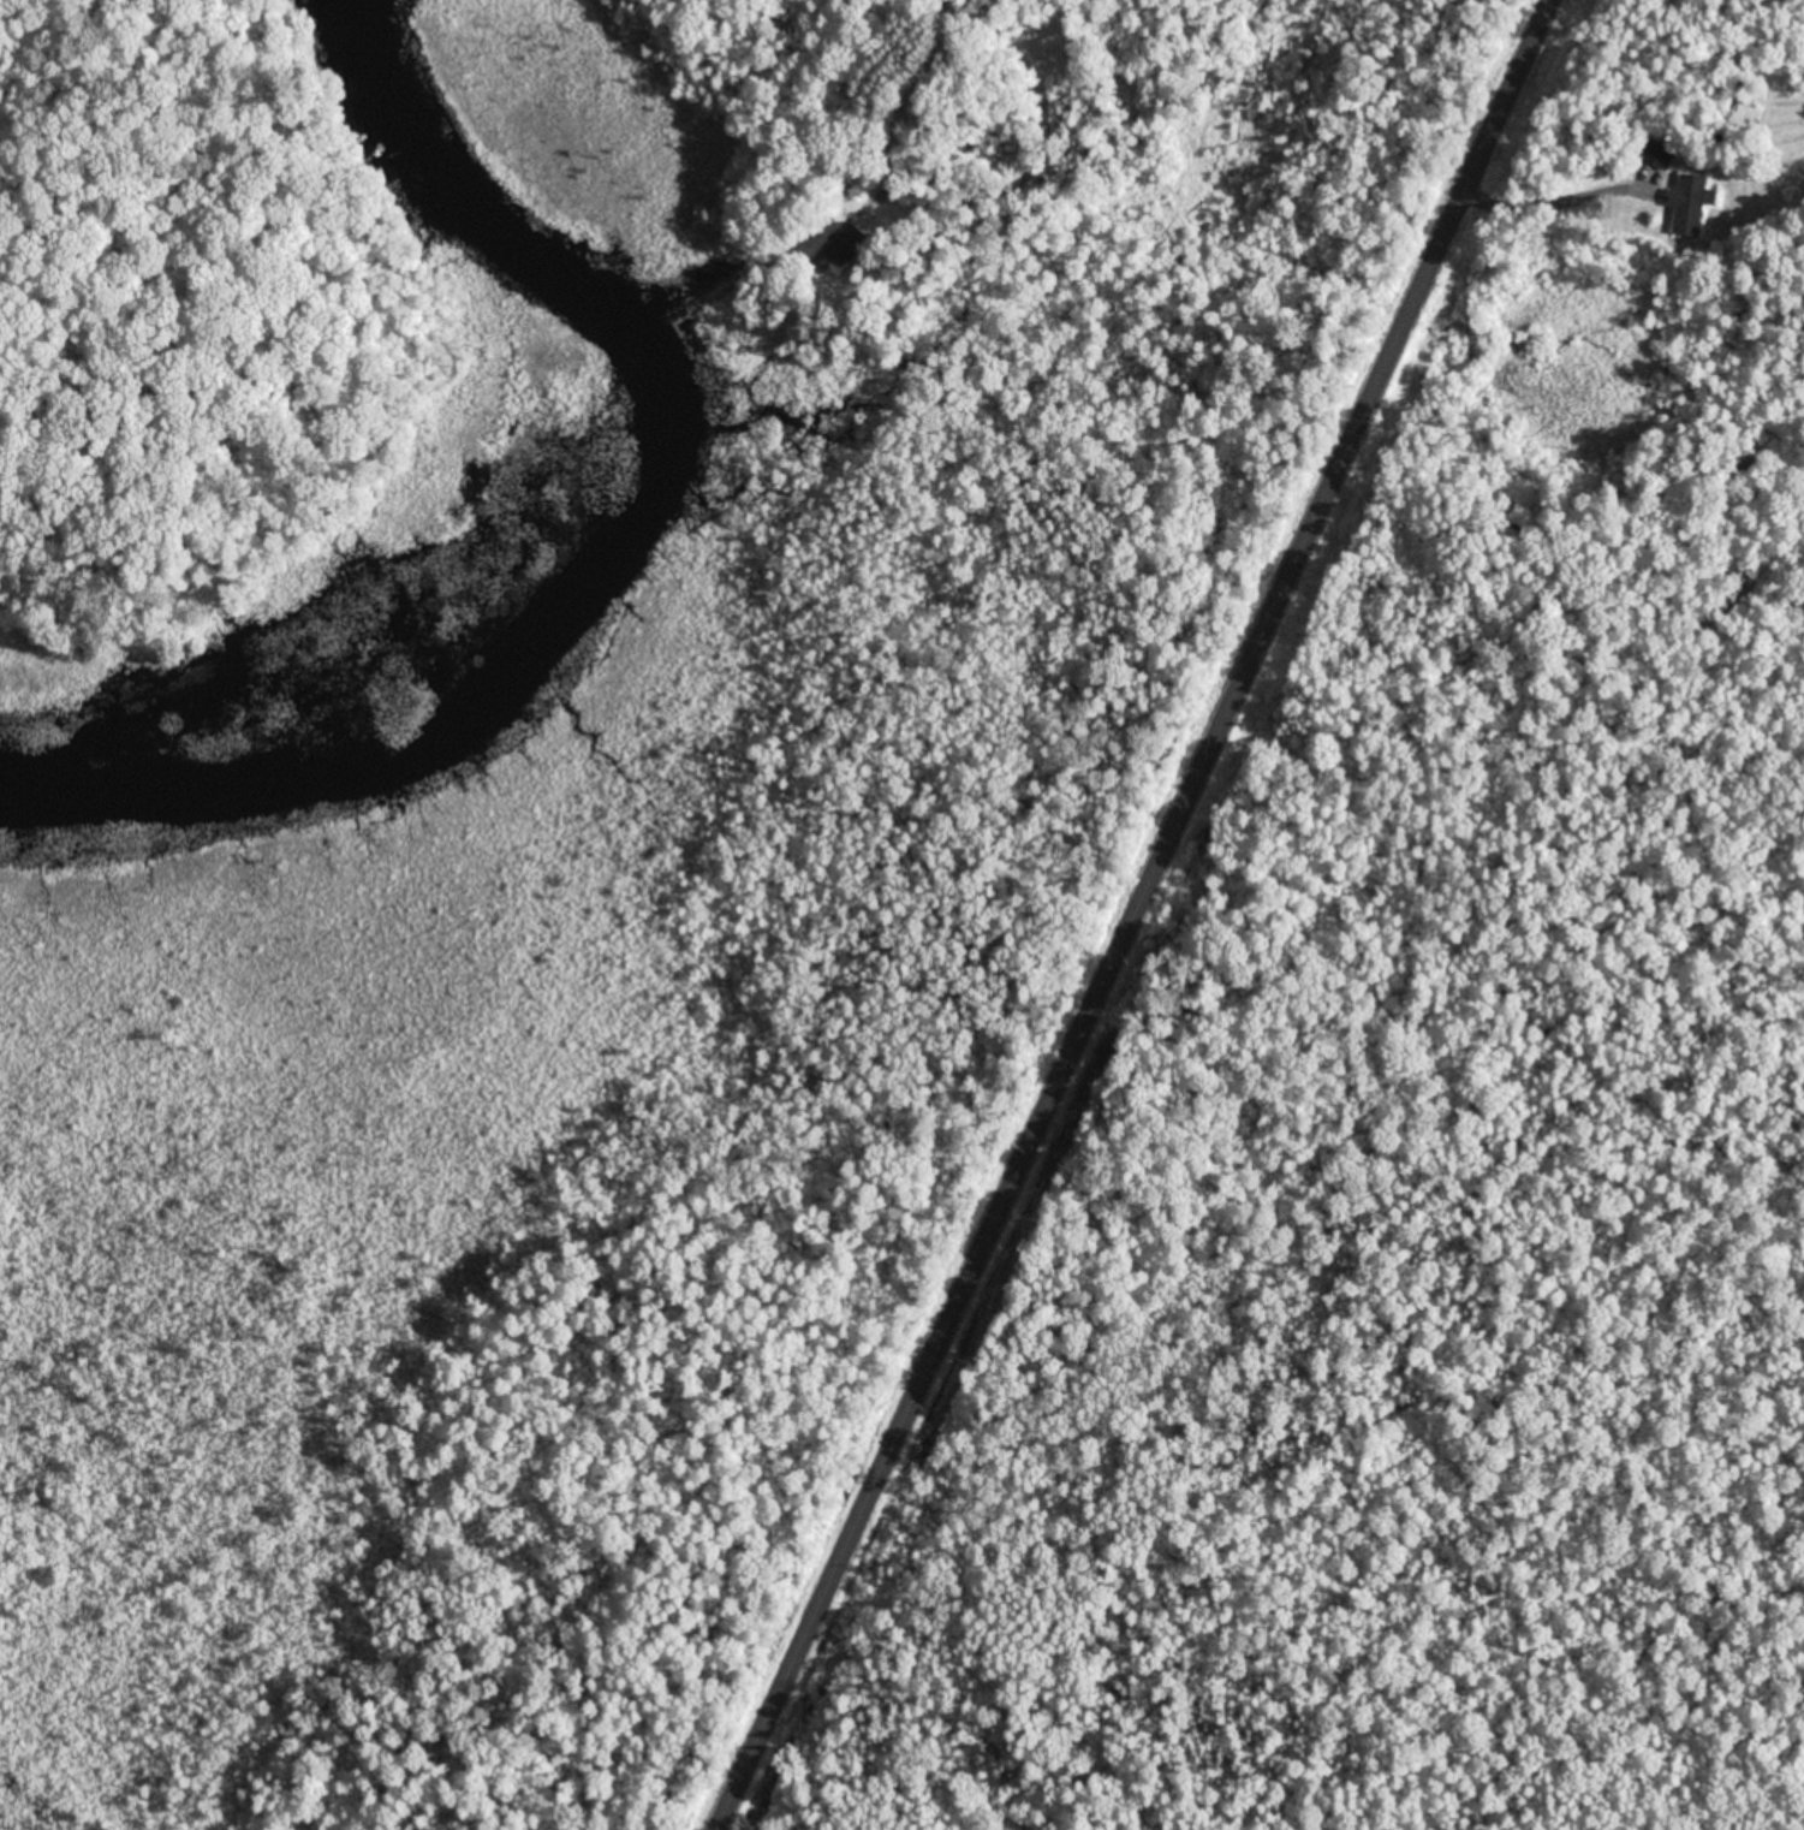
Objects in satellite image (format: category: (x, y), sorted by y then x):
building: (1662, 150)
building: (1697, 201)
building: (852, 243)
river: (600, 549)
road: (1135, 915)

